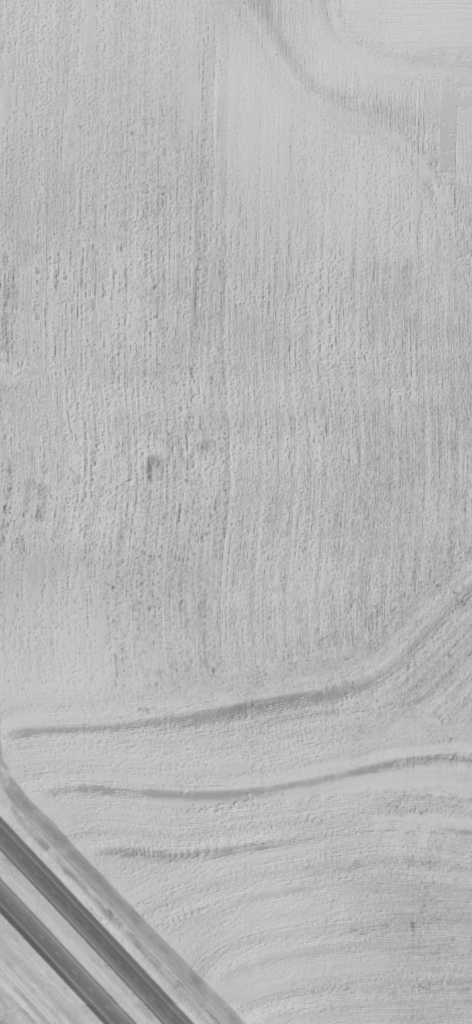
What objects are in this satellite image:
road: (90, 925)
road: (60, 958)
road: (35, 985)

